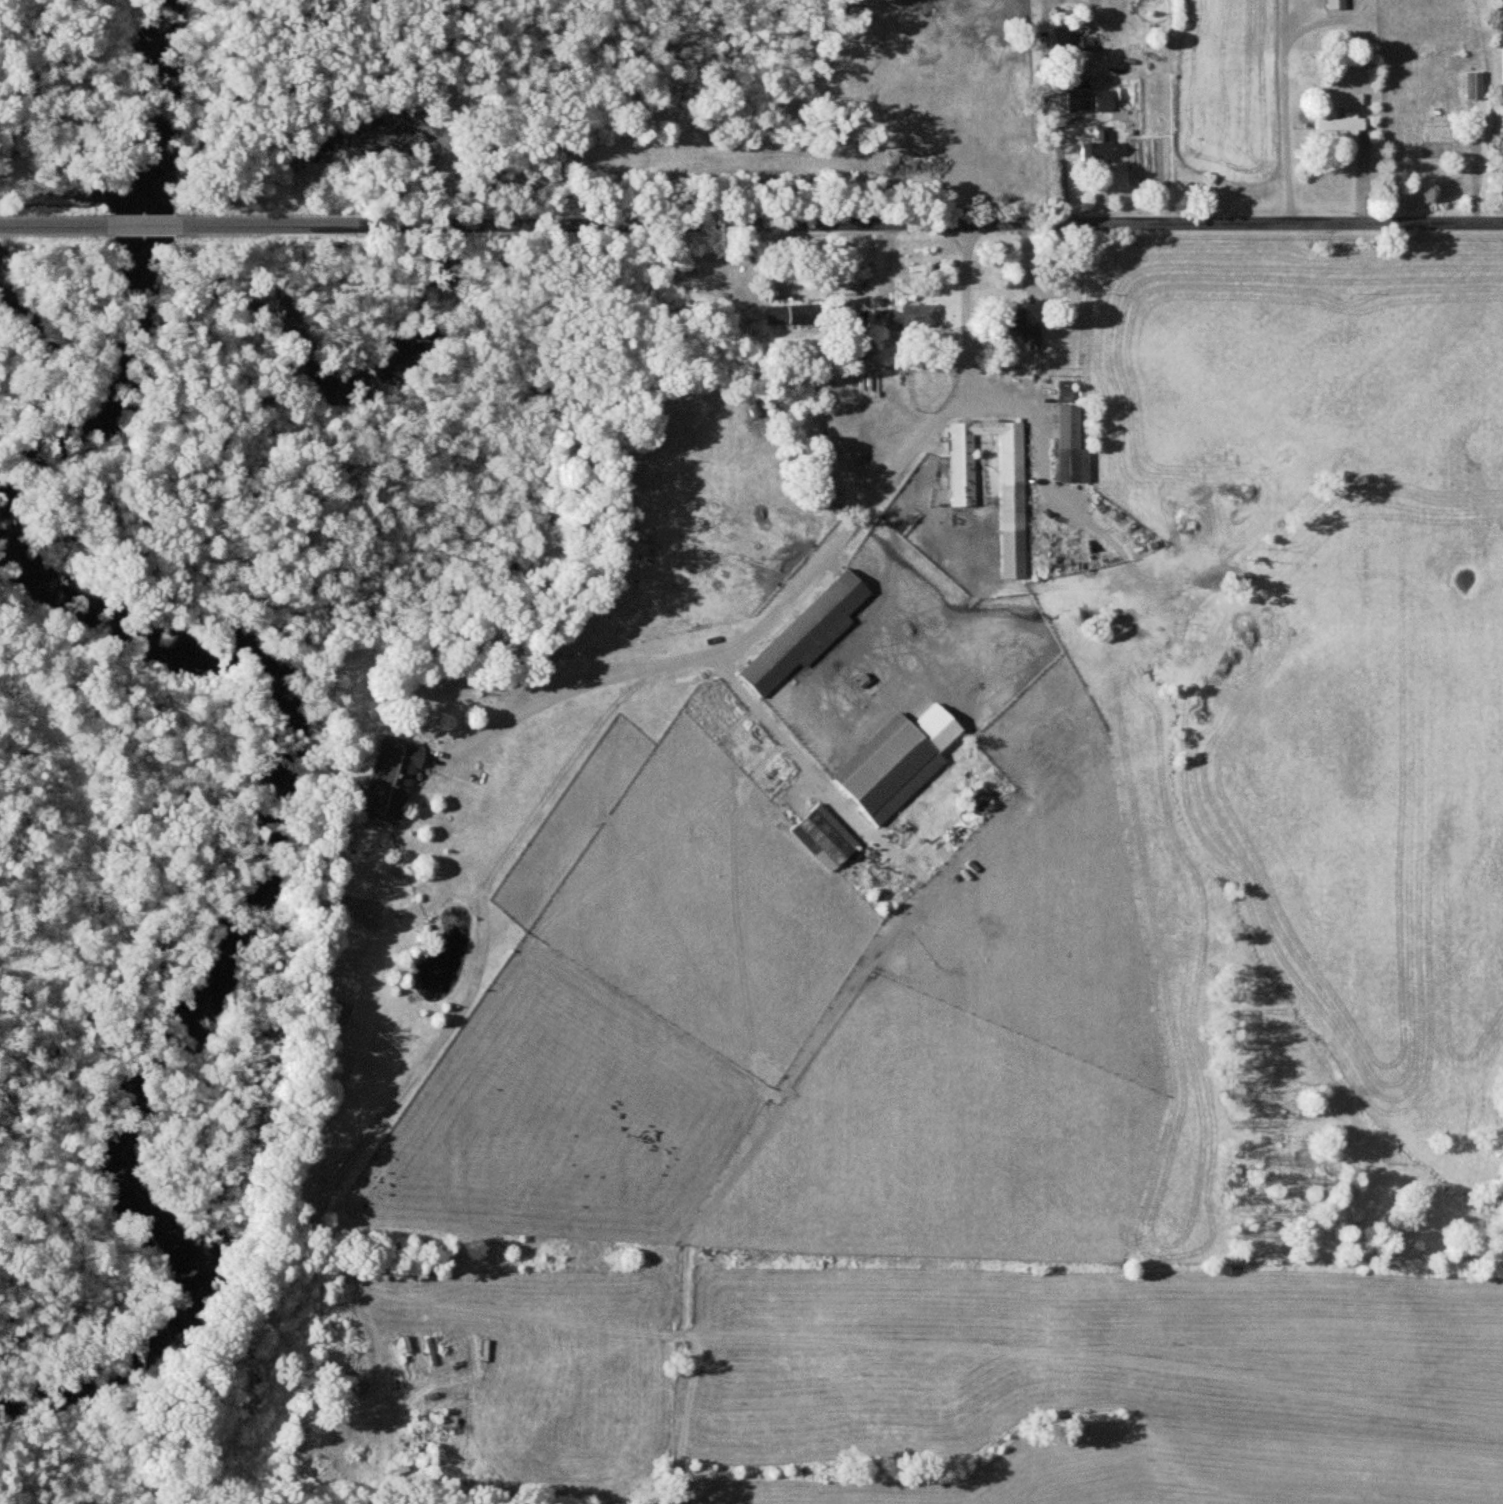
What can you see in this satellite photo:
building: (1336, 4)
road: (1330, 22)
building: (1085, 42)
building: (1475, 85)
building: (1078, 97)
building: (1103, 100)
road: (1286, 112)
river: (158, 113)
building: (1340, 122)
building: (1096, 146)
road: (842, 224)
road: (53, 227)
road: (145, 228)
building: (790, 314)
building: (913, 318)
building: (1022, 325)
building: (1065, 391)
road: (1034, 415)
building: (1072, 443)
road: (520, 455)
building: (1011, 470)
road: (805, 578)
building: (833, 607)
road: (791, 748)
building: (894, 762)
building: (388, 778)
river: (269, 786)
building: (975, 801)
building: (823, 837)

